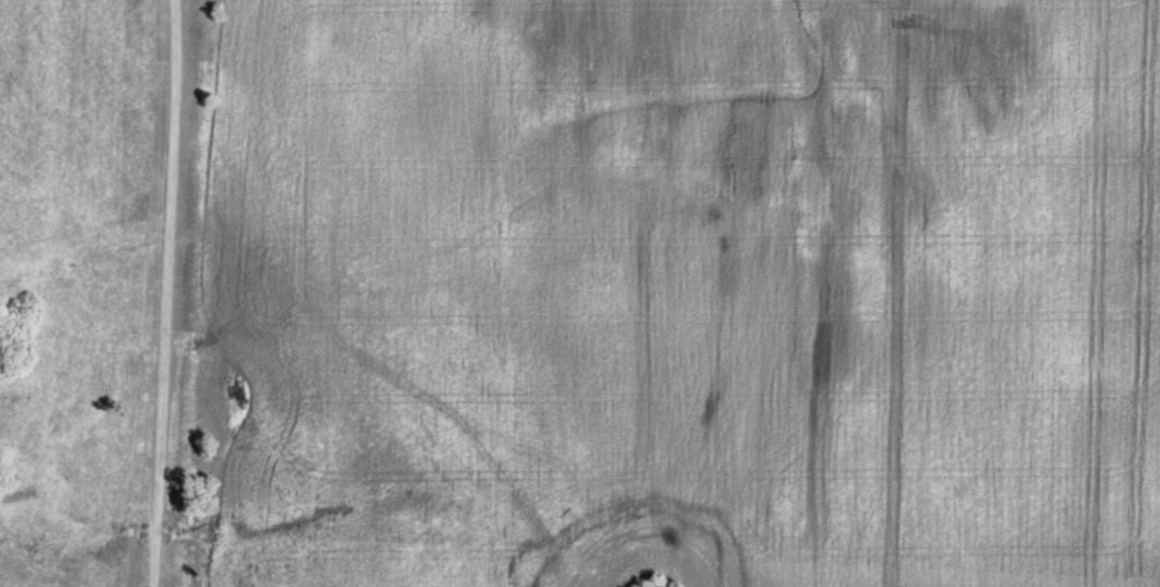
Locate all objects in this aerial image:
road: (168, 293)

